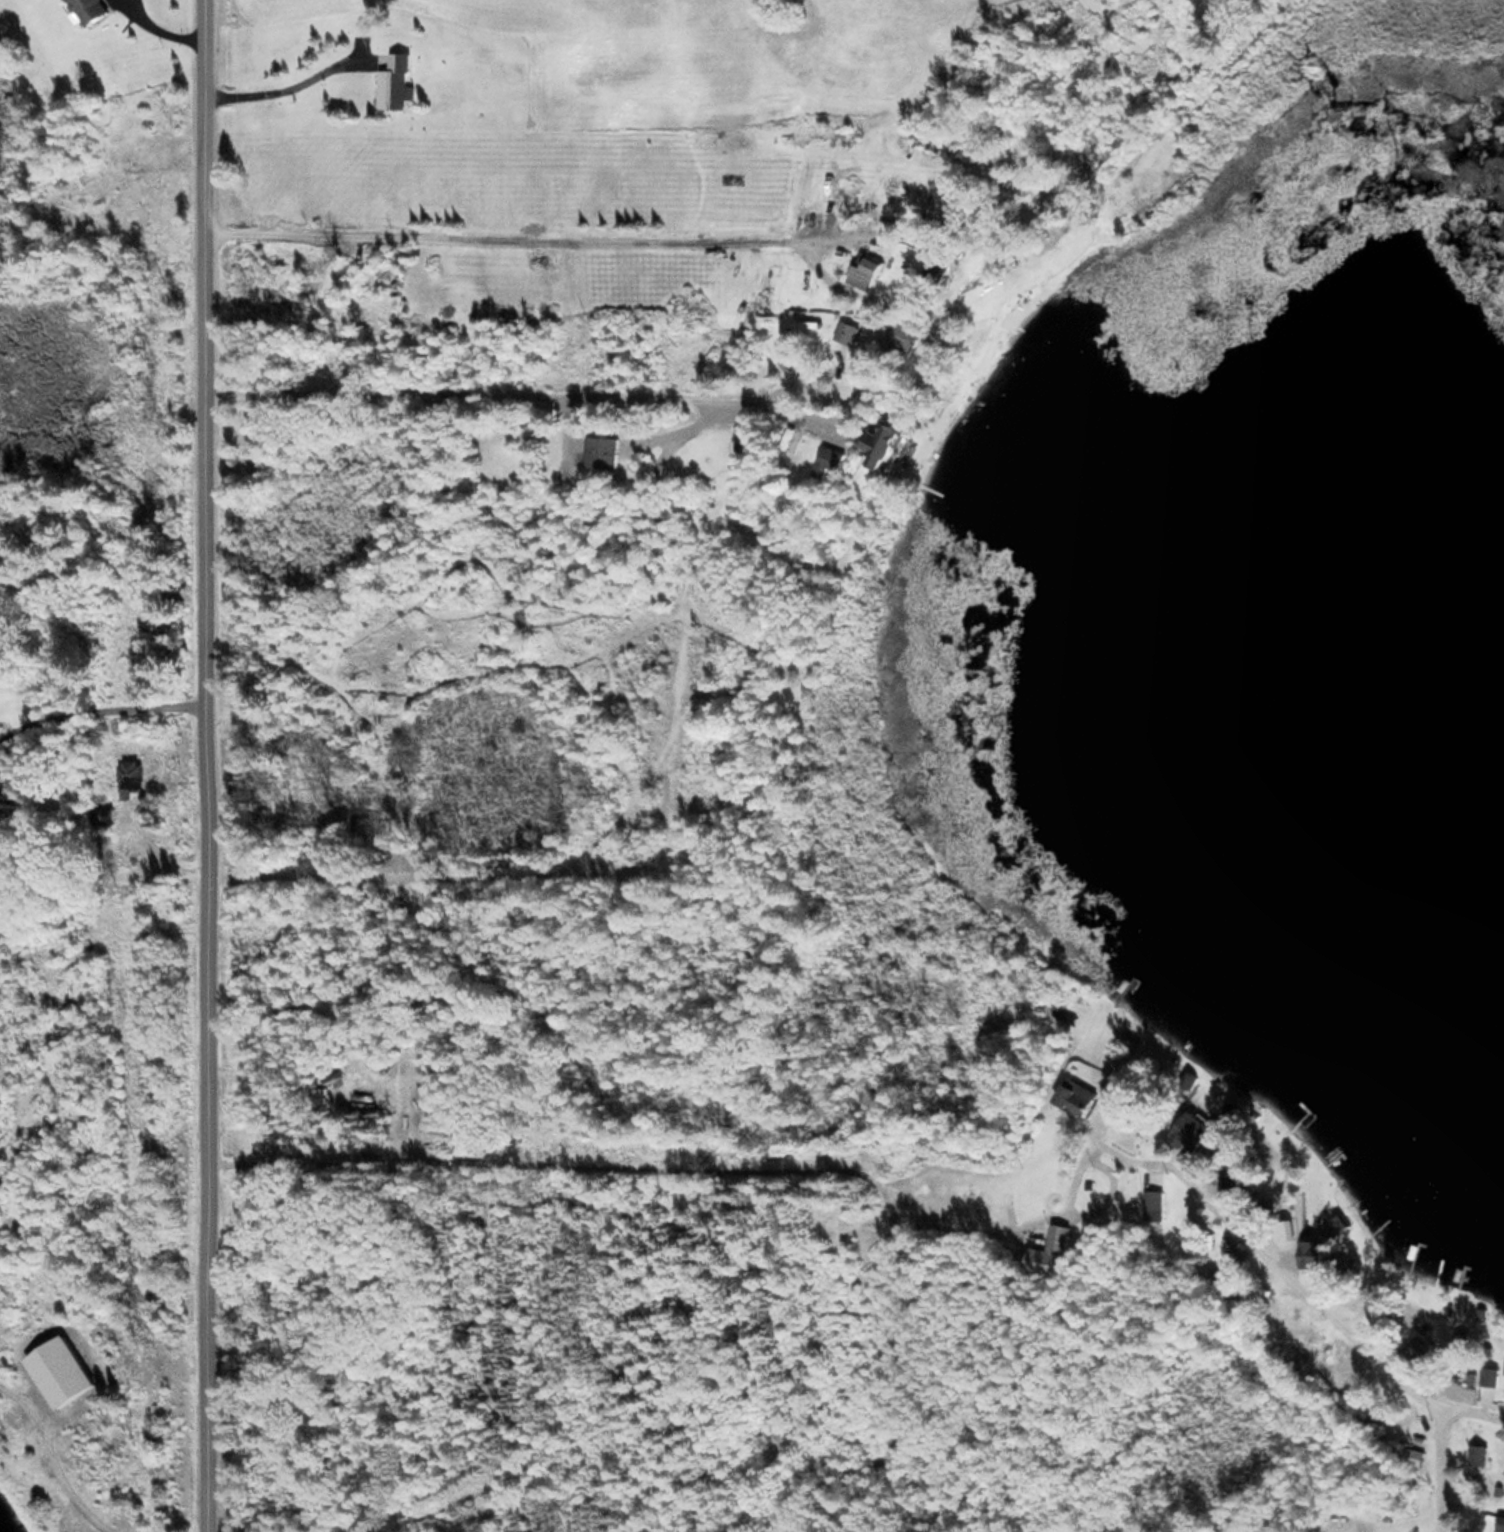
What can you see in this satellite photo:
building: (90, 10)
building: (395, 82)
building: (943, 265)
building: (867, 273)
building: (849, 331)
building: (905, 337)
building: (884, 446)
building: (602, 451)
building: (833, 458)
road: (214, 765)
building: (132, 777)
building: (4, 809)
building: (1079, 1097)
building: (1193, 1131)
building: (1242, 1193)
building: (1156, 1205)
road: (1269, 1242)
building: (1054, 1251)
building: (1316, 1252)
building: (1460, 1345)
building: (1415, 1347)
building: (63, 1371)
building: (1490, 1373)
road: (1477, 1405)
building: (1485, 1455)
road: (1449, 1465)
building: (1502, 1523)

